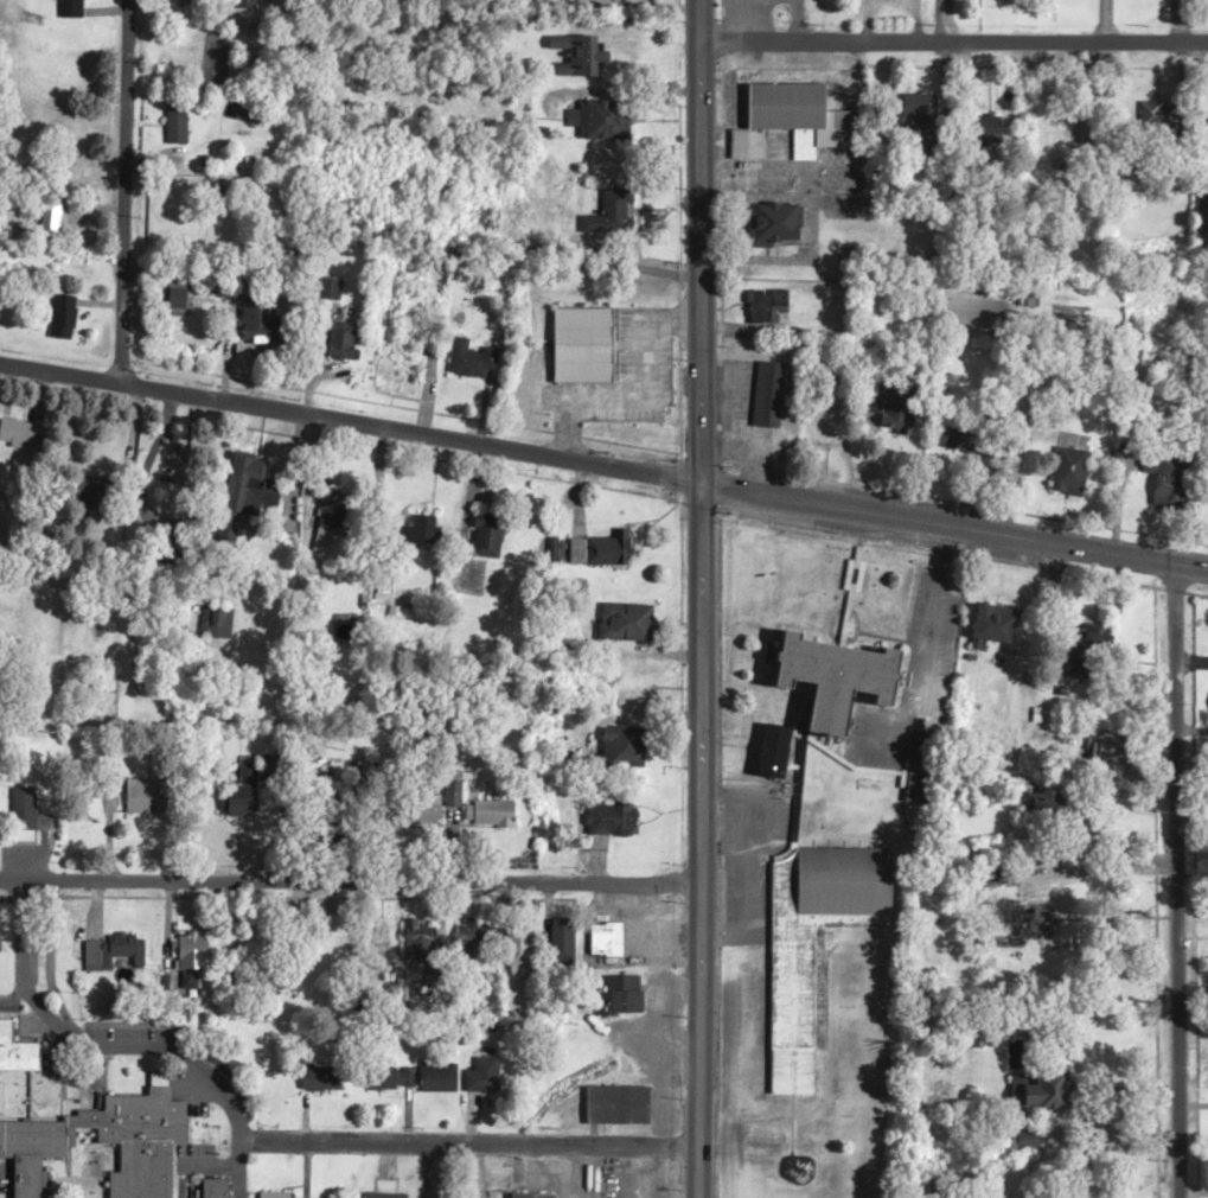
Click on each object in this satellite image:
building: (247, 5)
building: (72, 9)
road: (951, 52)
building: (584, 59)
building: (925, 114)
building: (605, 121)
building: (797, 122)
building: (178, 126)
road: (123, 193)
building: (613, 216)
building: (53, 222)
building: (780, 223)
road: (696, 242)
building: (334, 291)
building: (1030, 305)
building: (771, 310)
building: (641, 318)
building: (66, 319)
building: (262, 324)
building: (345, 343)
building: (602, 356)
building: (473, 363)
building: (772, 397)
building: (639, 399)
building: (903, 409)
building: (832, 428)
building: (23, 436)
building: (957, 440)
road: (603, 467)
building: (1074, 476)
building: (1176, 484)
building: (253, 488)
building: (101, 497)
building: (339, 515)
building: (428, 533)
building: (493, 542)
building: (602, 553)
building: (629, 625)
building: (998, 629)
building: (1093, 652)
building: (837, 694)
building: (627, 750)
building: (1118, 753)
building: (925, 770)
building: (247, 791)
building: (154, 799)
building: (1052, 809)
building: (28, 814)
building: (501, 817)
building: (611, 823)
road: (699, 841)
road: (1177, 882)
road: (350, 885)
building: (849, 885)
building: (1034, 928)
building: (338, 935)
building: (611, 943)
building: (432, 944)
building: (567, 945)
building: (523, 952)
building: (116, 956)
building: (198, 956)
building: (624, 998)
building: (20, 1043)
road: (120, 1046)
building: (794, 1071)
building: (486, 1079)
building: (440, 1081)
building: (324, 1082)
building: (392, 1082)
building: (1046, 1096)
building: (620, 1109)
building: (152, 1127)
road: (468, 1148)
building: (279, 1197)
building: (528, 1197)

